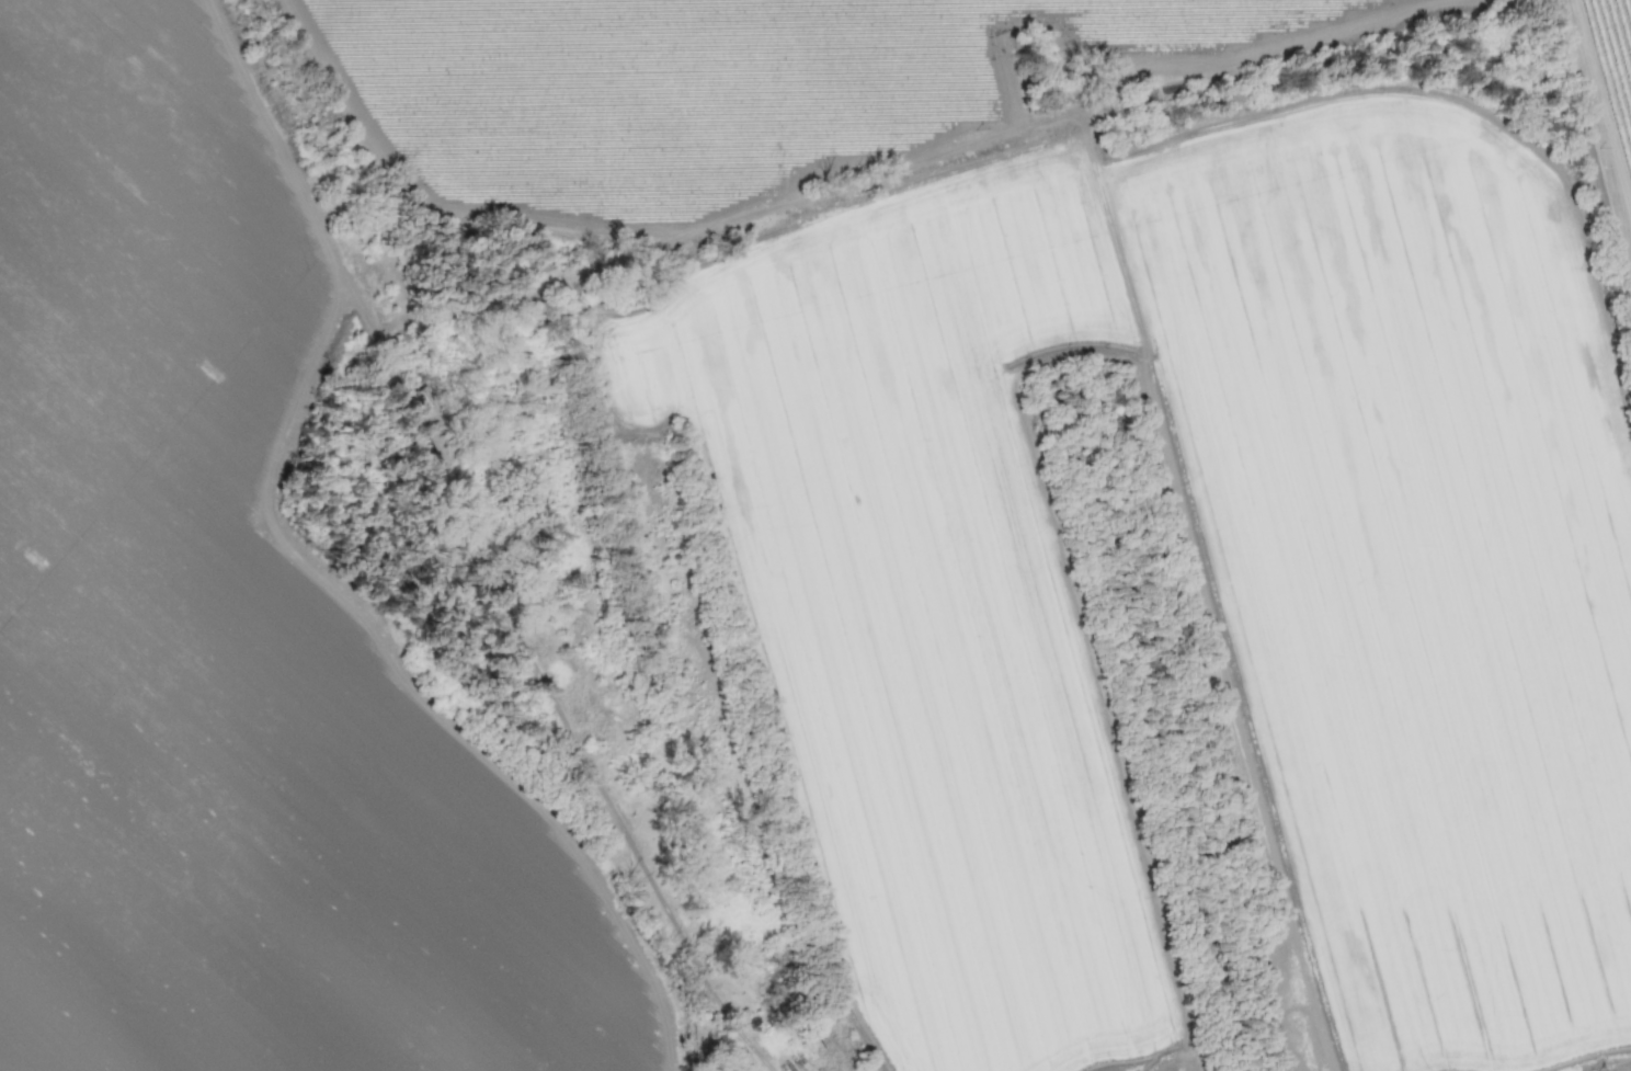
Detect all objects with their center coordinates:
road: (1592, 143)

